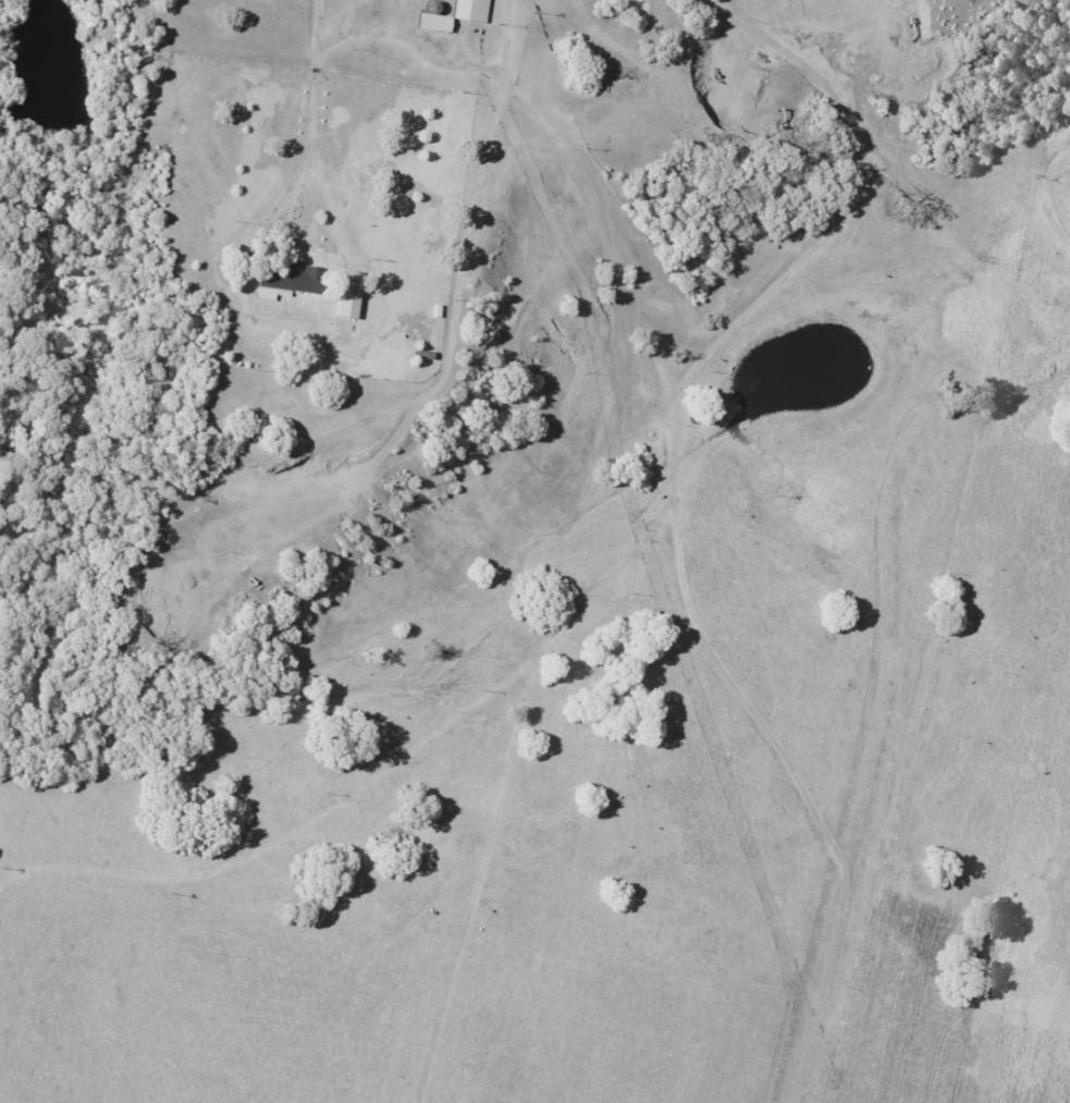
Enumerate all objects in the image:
building: (471, 10)
building: (435, 22)
road: (318, 27)
road: (509, 37)
road: (550, 57)
road: (310, 135)
road: (1046, 197)
building: (293, 280)
building: (347, 309)
road: (675, 494)

